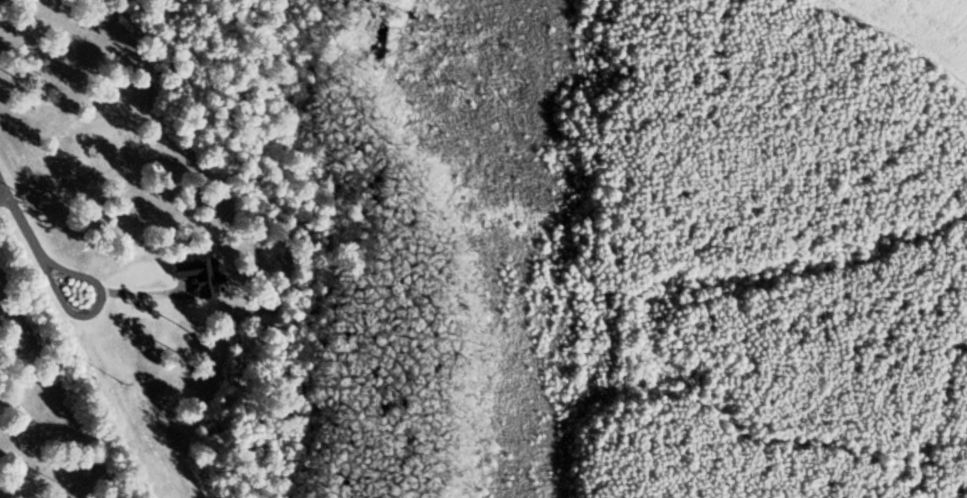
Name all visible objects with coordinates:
power tower: (25, 194)
road: (5, 204)
road: (68, 315)
power tower: (142, 385)

